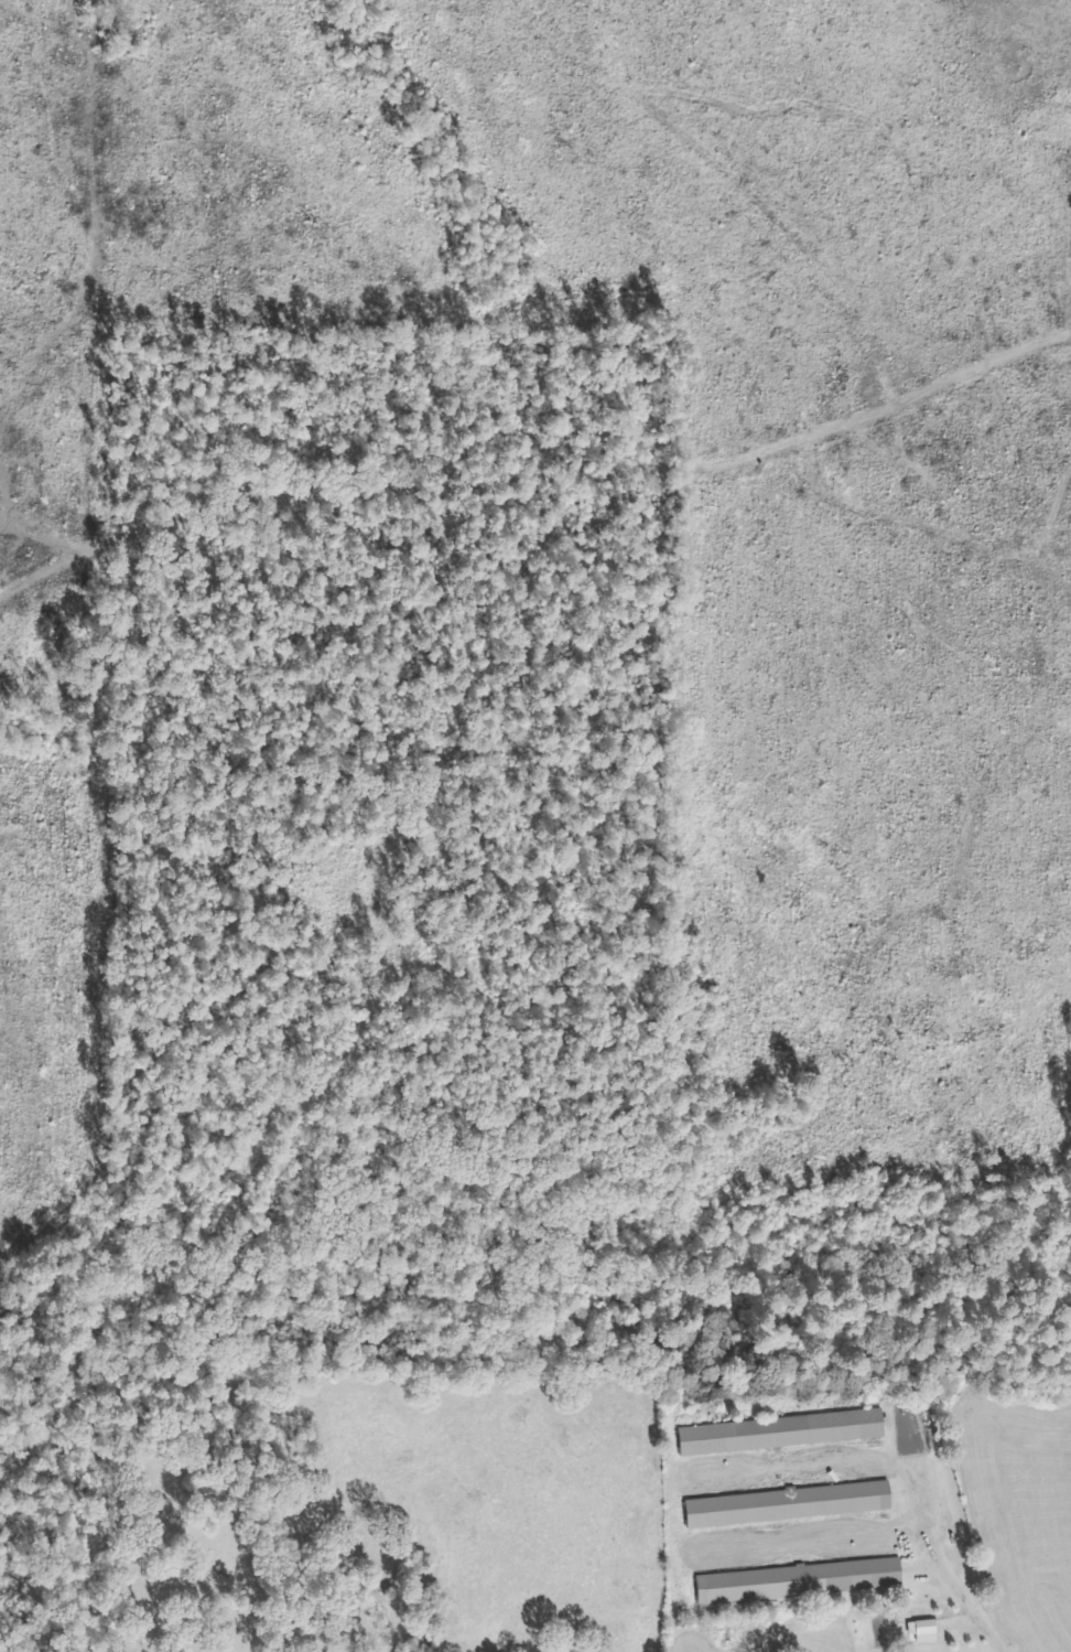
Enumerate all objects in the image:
building: (783, 1433)
building: (790, 1505)
building: (801, 1581)
building: (927, 1631)

